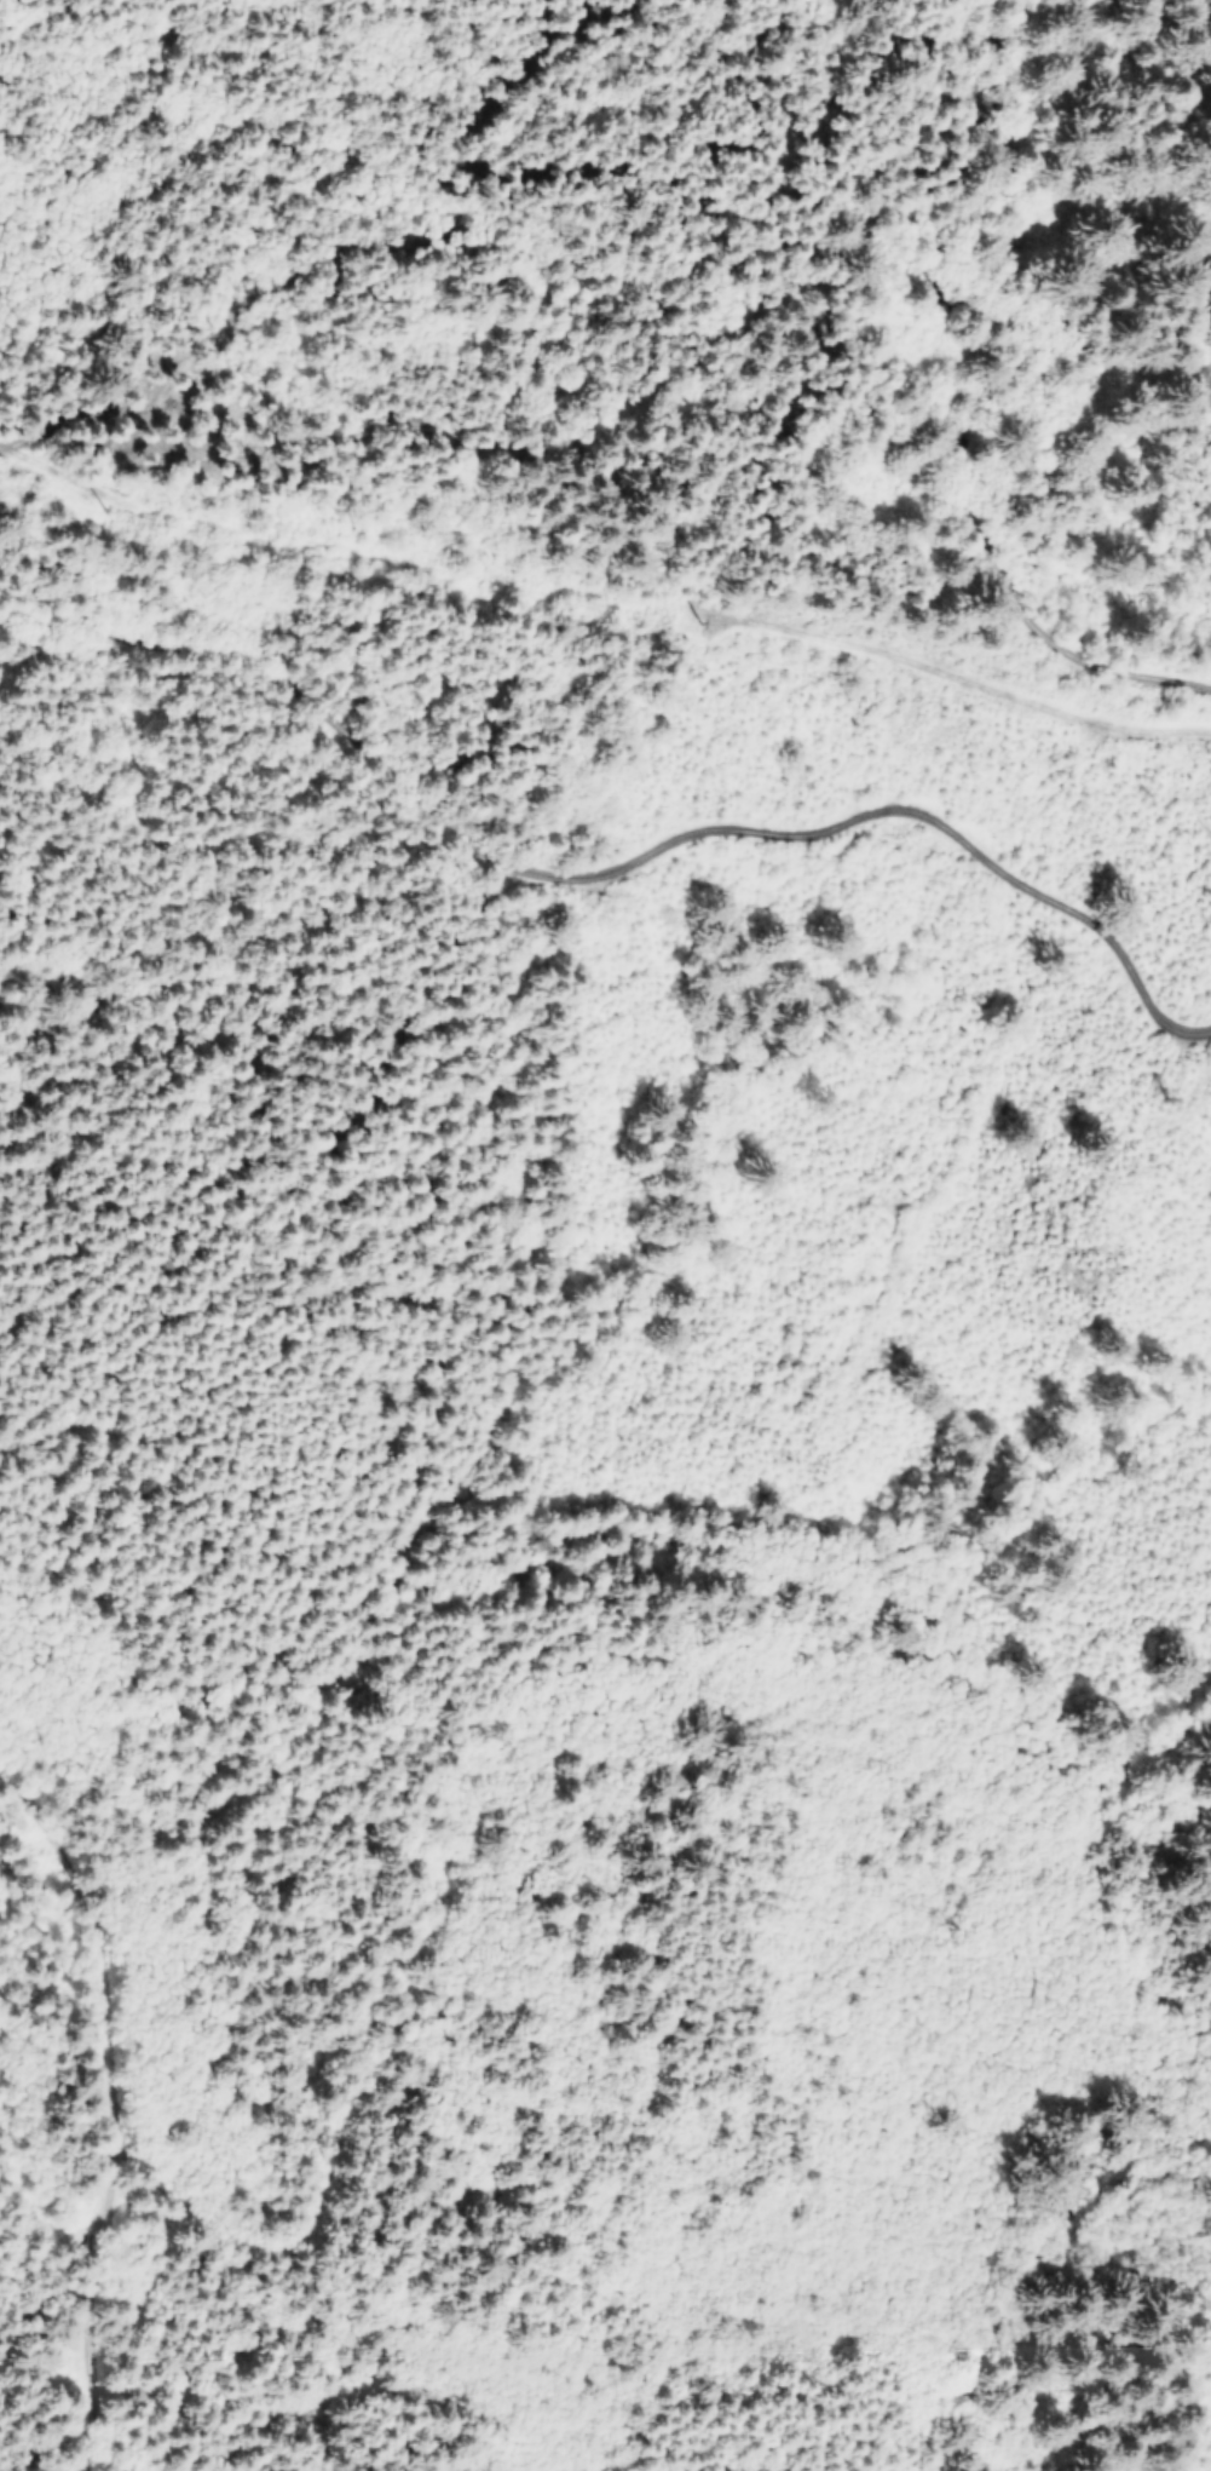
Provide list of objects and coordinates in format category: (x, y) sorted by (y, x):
road: (1007, 391)
power tower: (704, 611)
road: (605, 863)
road: (293, 1139)
road: (110, 2121)
road: (1031, 2270)

